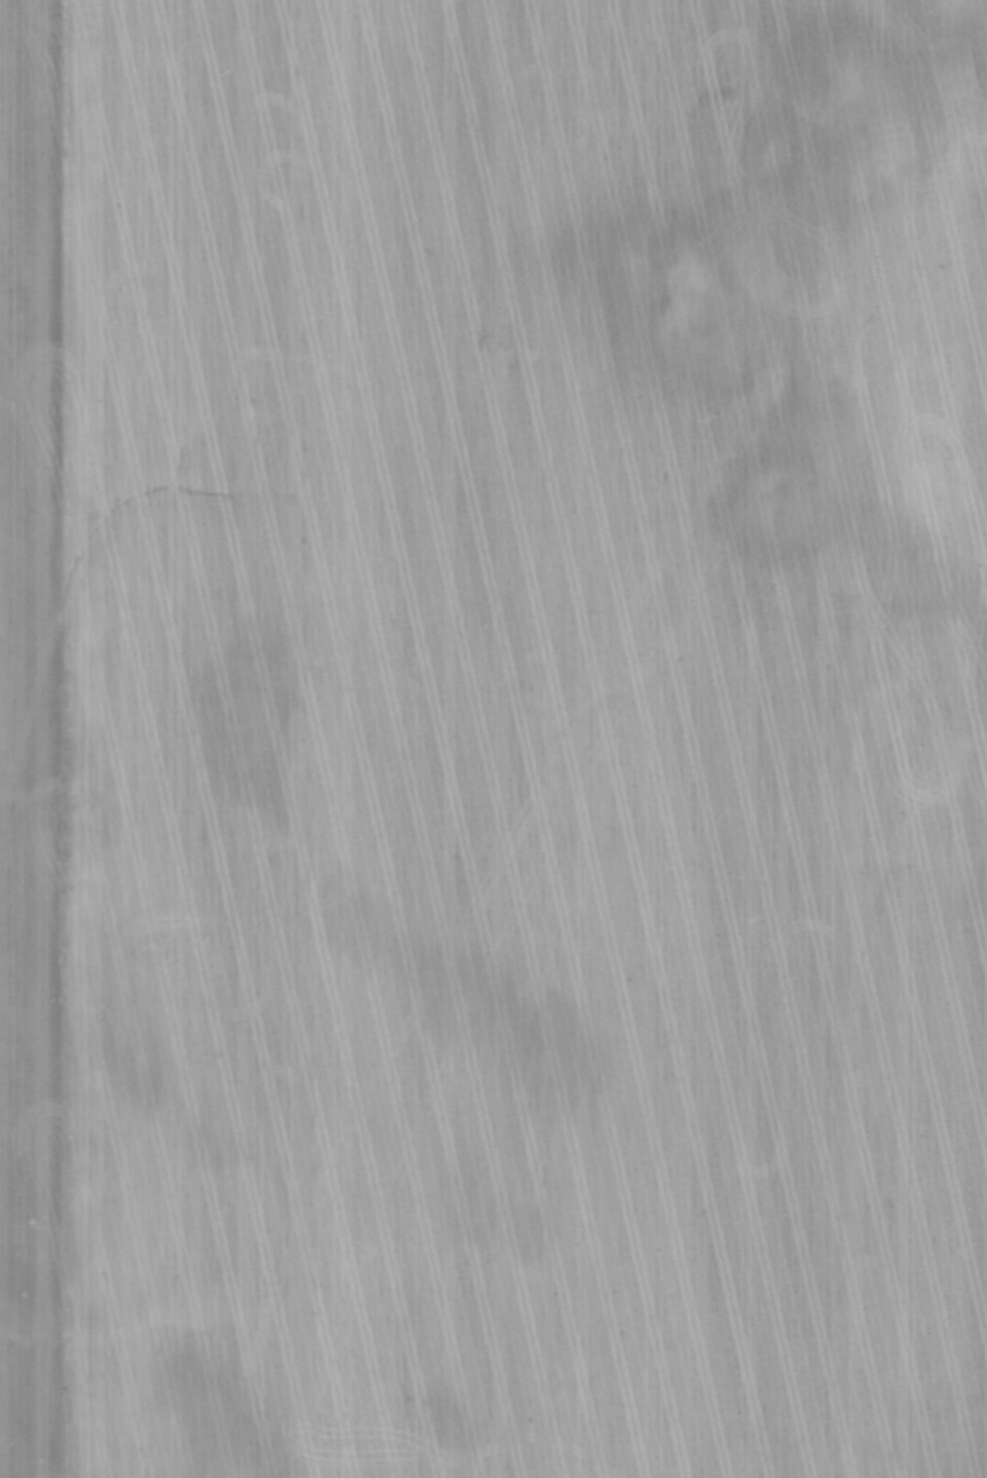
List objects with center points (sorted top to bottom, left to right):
crop: (442, 808)

